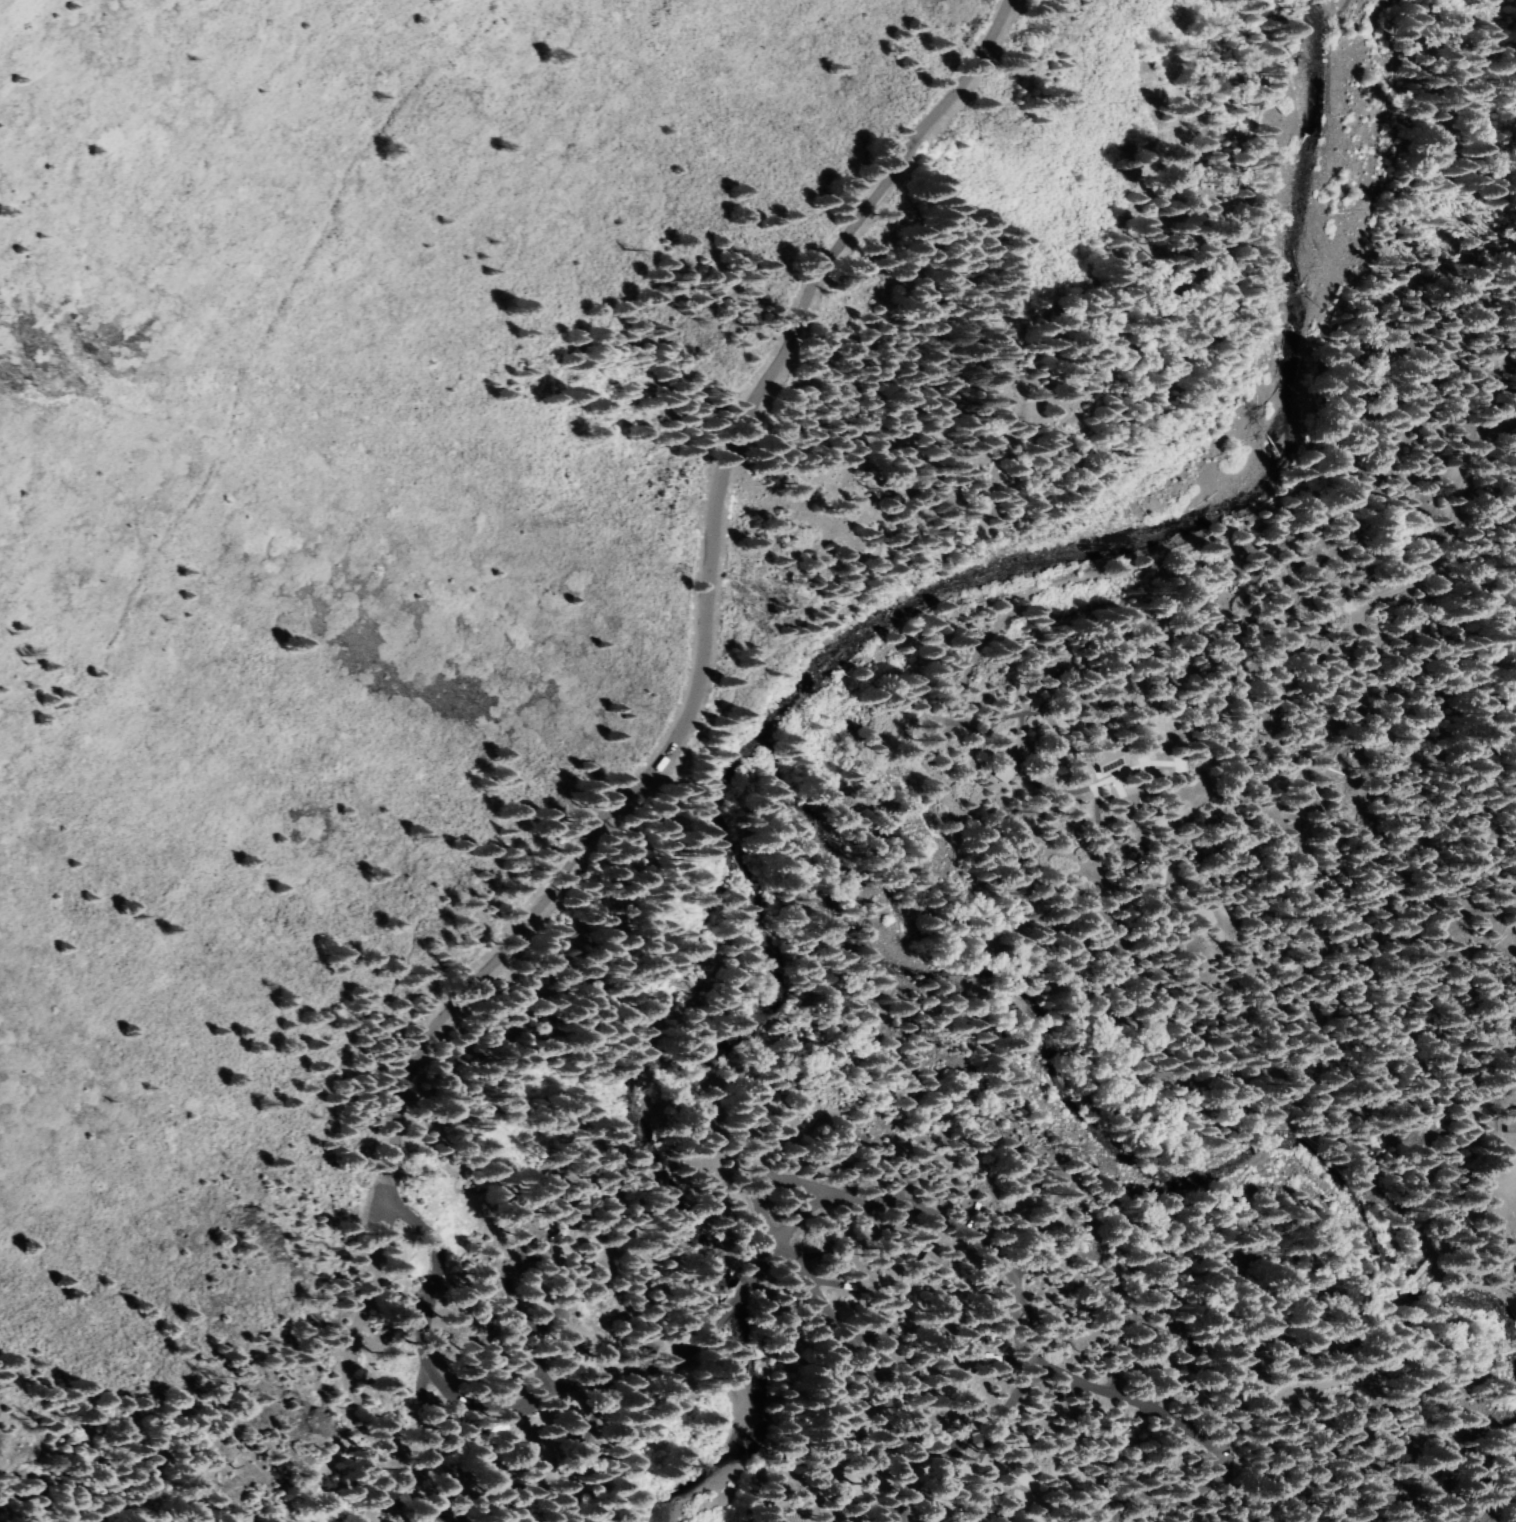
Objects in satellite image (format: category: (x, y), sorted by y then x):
road: (702, 608)
road: (1265, 666)
building: (1104, 760)
building: (1154, 875)
building: (1508, 1119)
road: (1510, 1187)
road: (1511, 1211)
road: (1464, 1220)
road: (757, 1271)
road: (1413, 1271)
road: (574, 1280)
road: (726, 1307)
road: (1029, 1351)
road: (875, 1374)
road: (1329, 1382)
road: (344, 1384)
road: (477, 1398)
road: (542, 1469)

